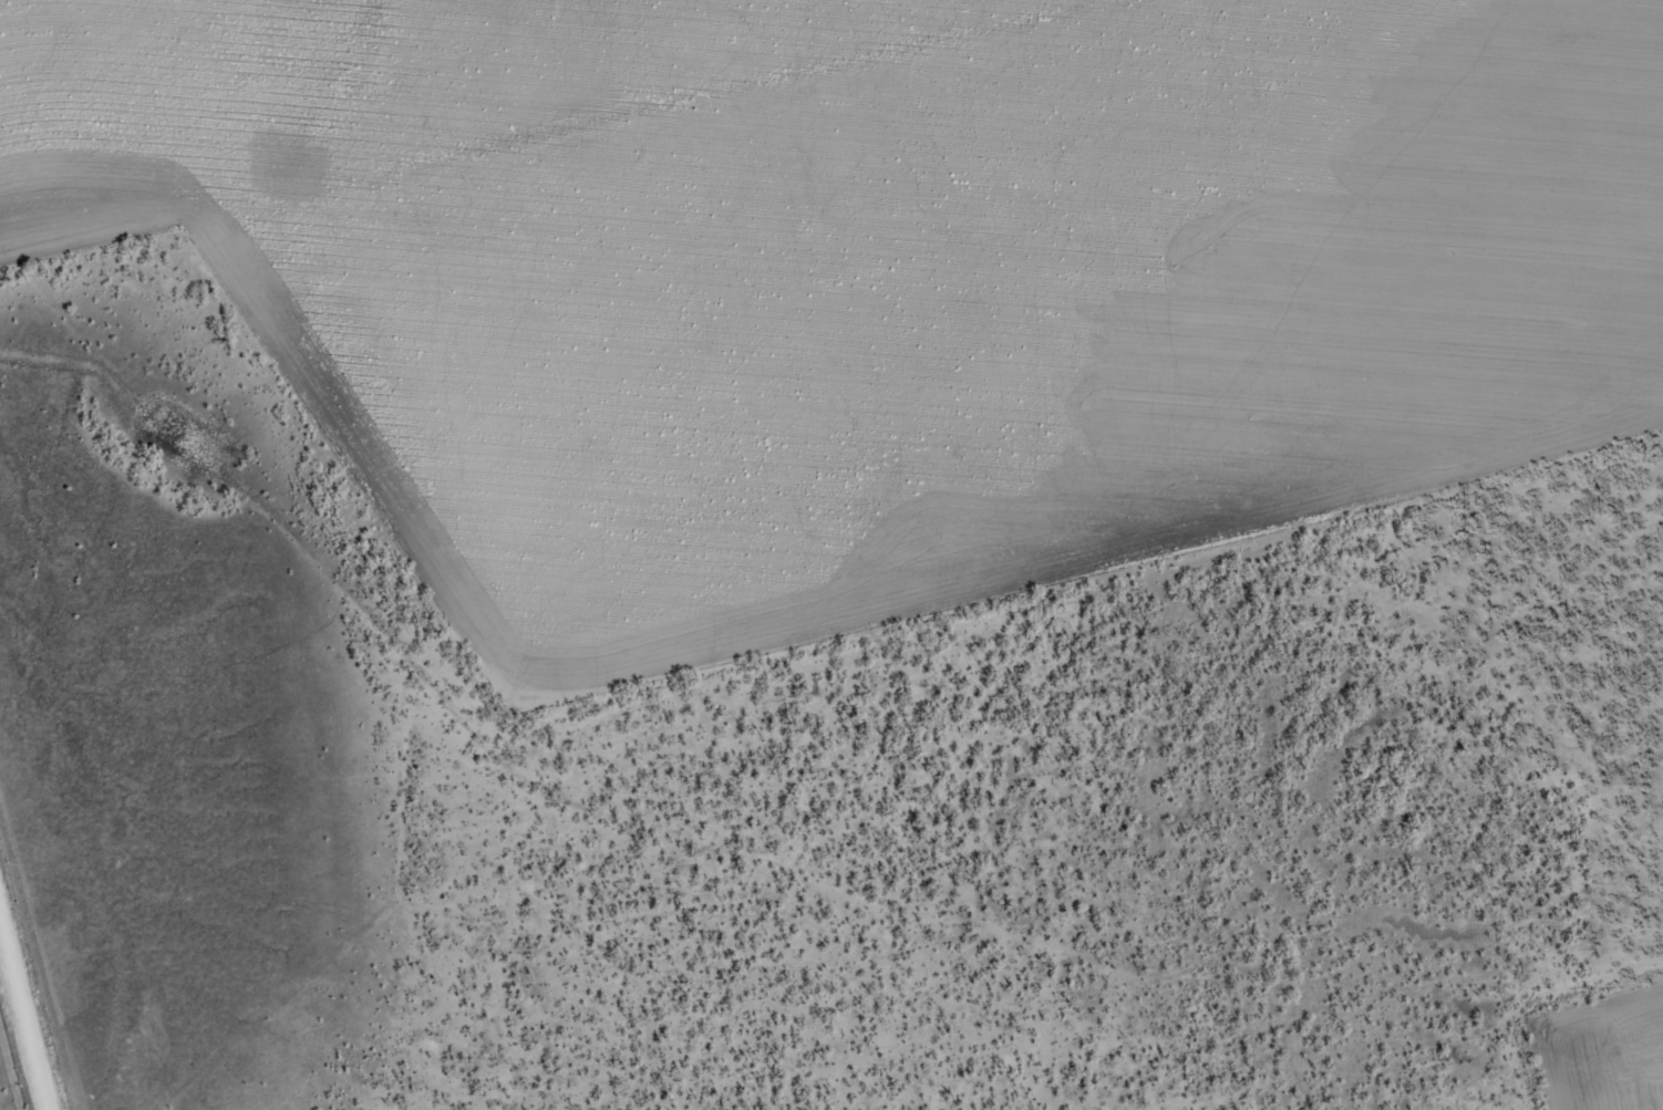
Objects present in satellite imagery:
road: (559, 143)
road: (865, 624)
road: (12, 1059)

